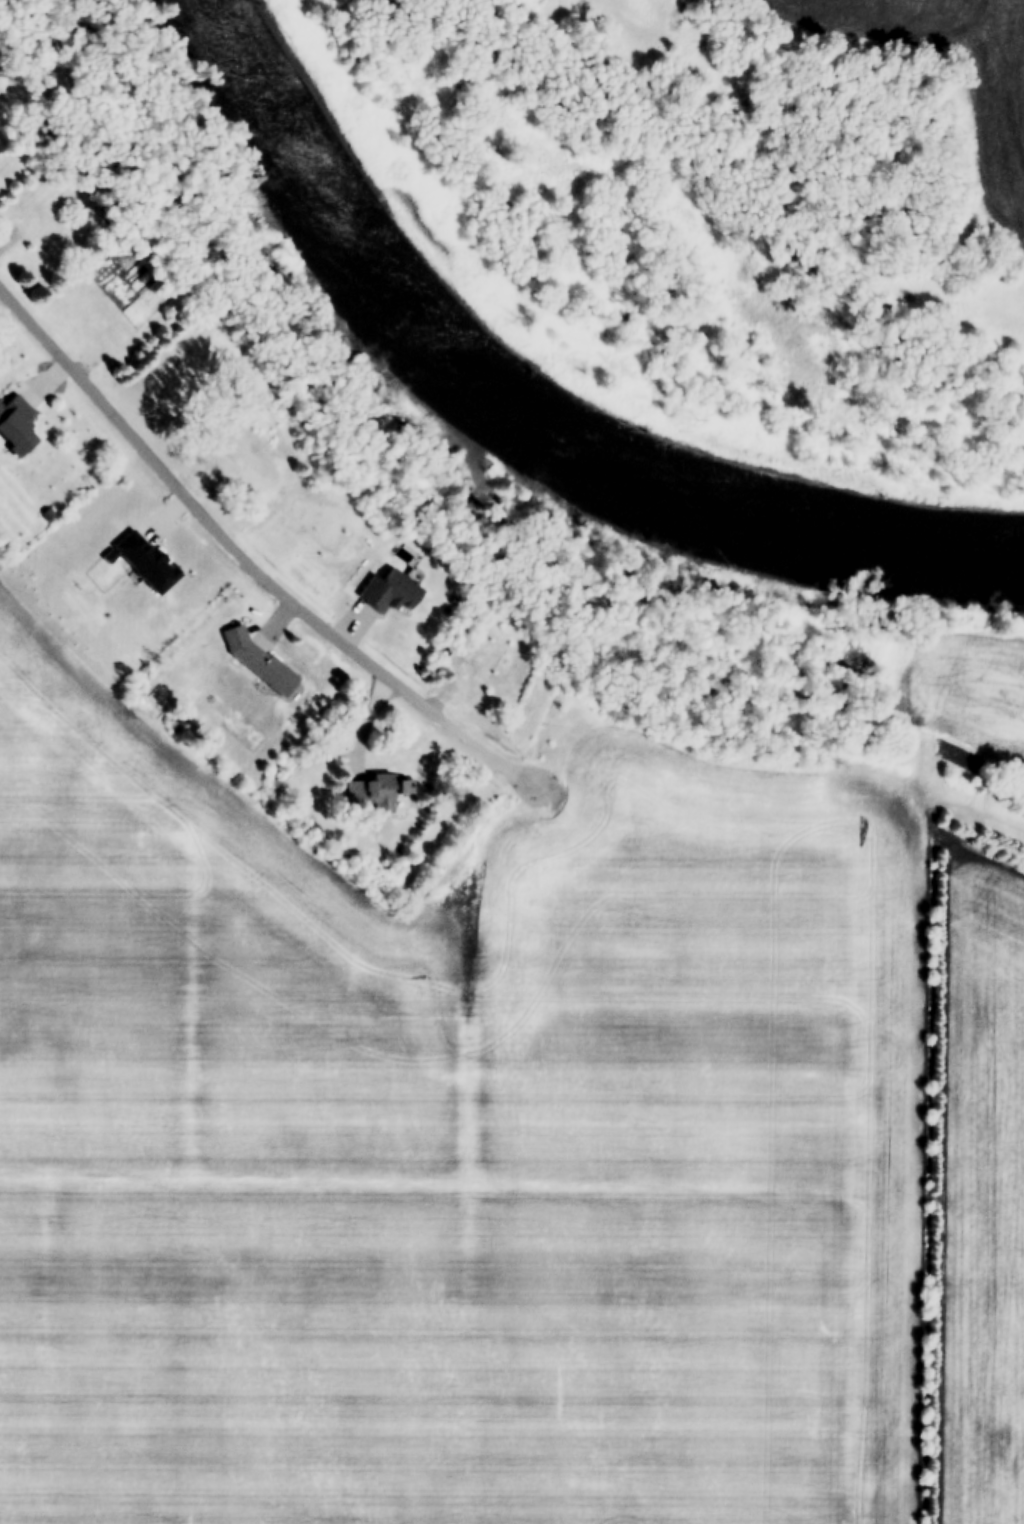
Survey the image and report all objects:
crop: (995, 112)
building: (1, 144)
river: (545, 398)
building: (15, 423)
building: (244, 456)
road: (208, 521)
building: (315, 521)
building: (144, 559)
building: (387, 589)
building: (484, 639)
building: (257, 659)
building: (498, 664)
road: (490, 754)
building: (376, 791)
crop: (462, 1132)
crop: (980, 1194)

